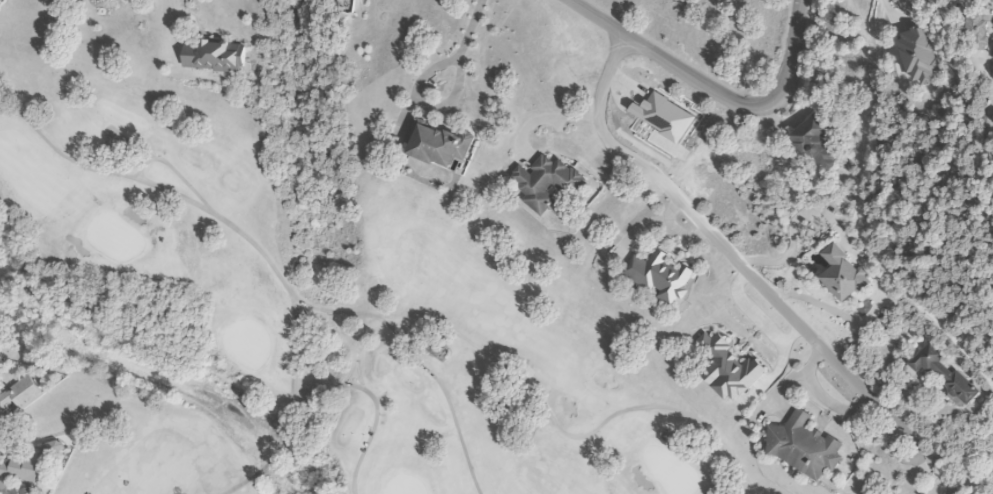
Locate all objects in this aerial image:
building: (344, 6)
road: (911, 7)
road: (171, 25)
road: (471, 28)
building: (974, 32)
building: (916, 56)
building: (211, 57)
road: (715, 92)
road: (423, 105)
road: (548, 120)
building: (435, 145)
building: (816, 146)
building: (544, 184)
road: (724, 247)
building: (841, 276)
building: (658, 277)
building: (727, 370)
building: (939, 373)
building: (19, 396)
building: (803, 448)
building: (28, 465)
building: (3, 484)
road: (941, 484)

